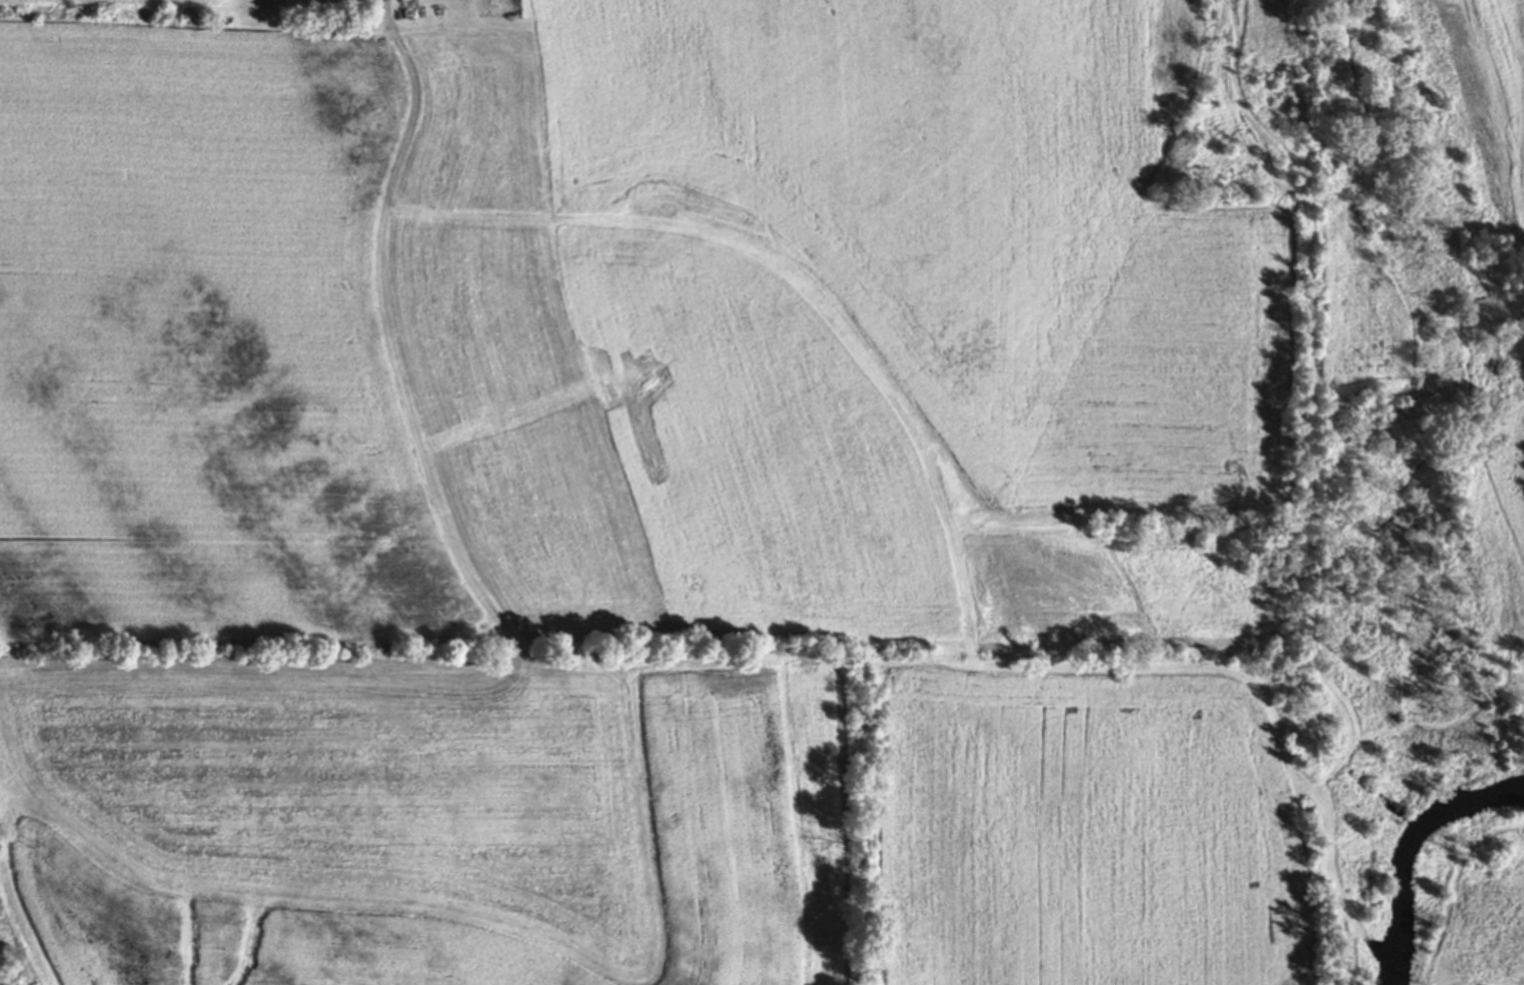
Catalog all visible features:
river: (1415, 854)

